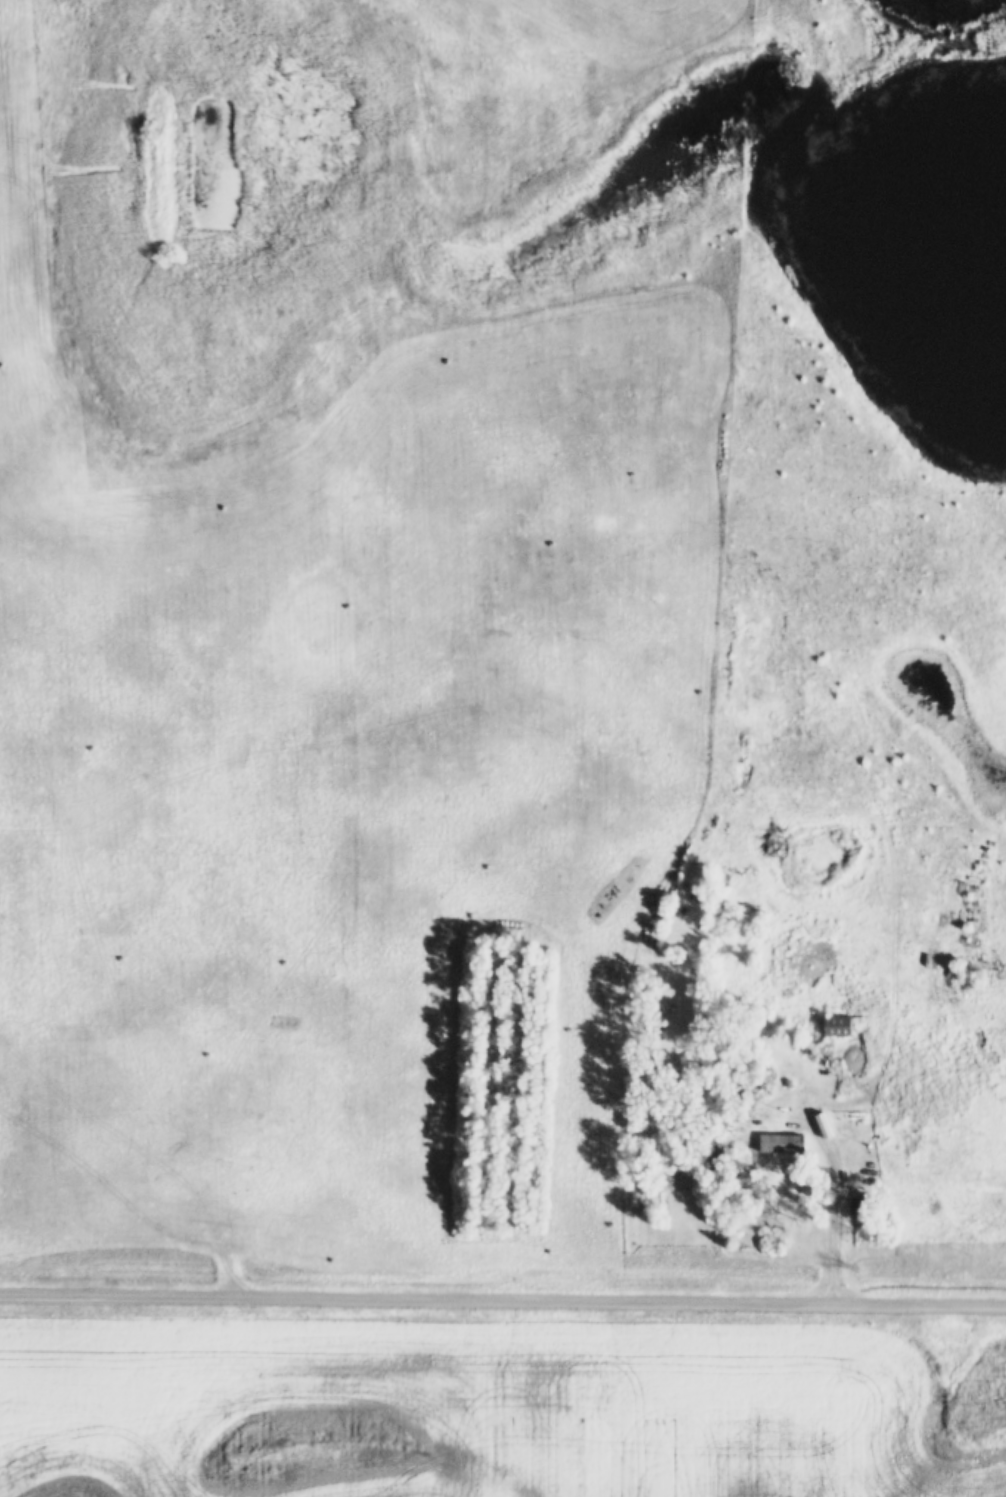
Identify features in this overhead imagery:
building: (833, 1023)
road: (835, 1198)
road: (503, 1300)

